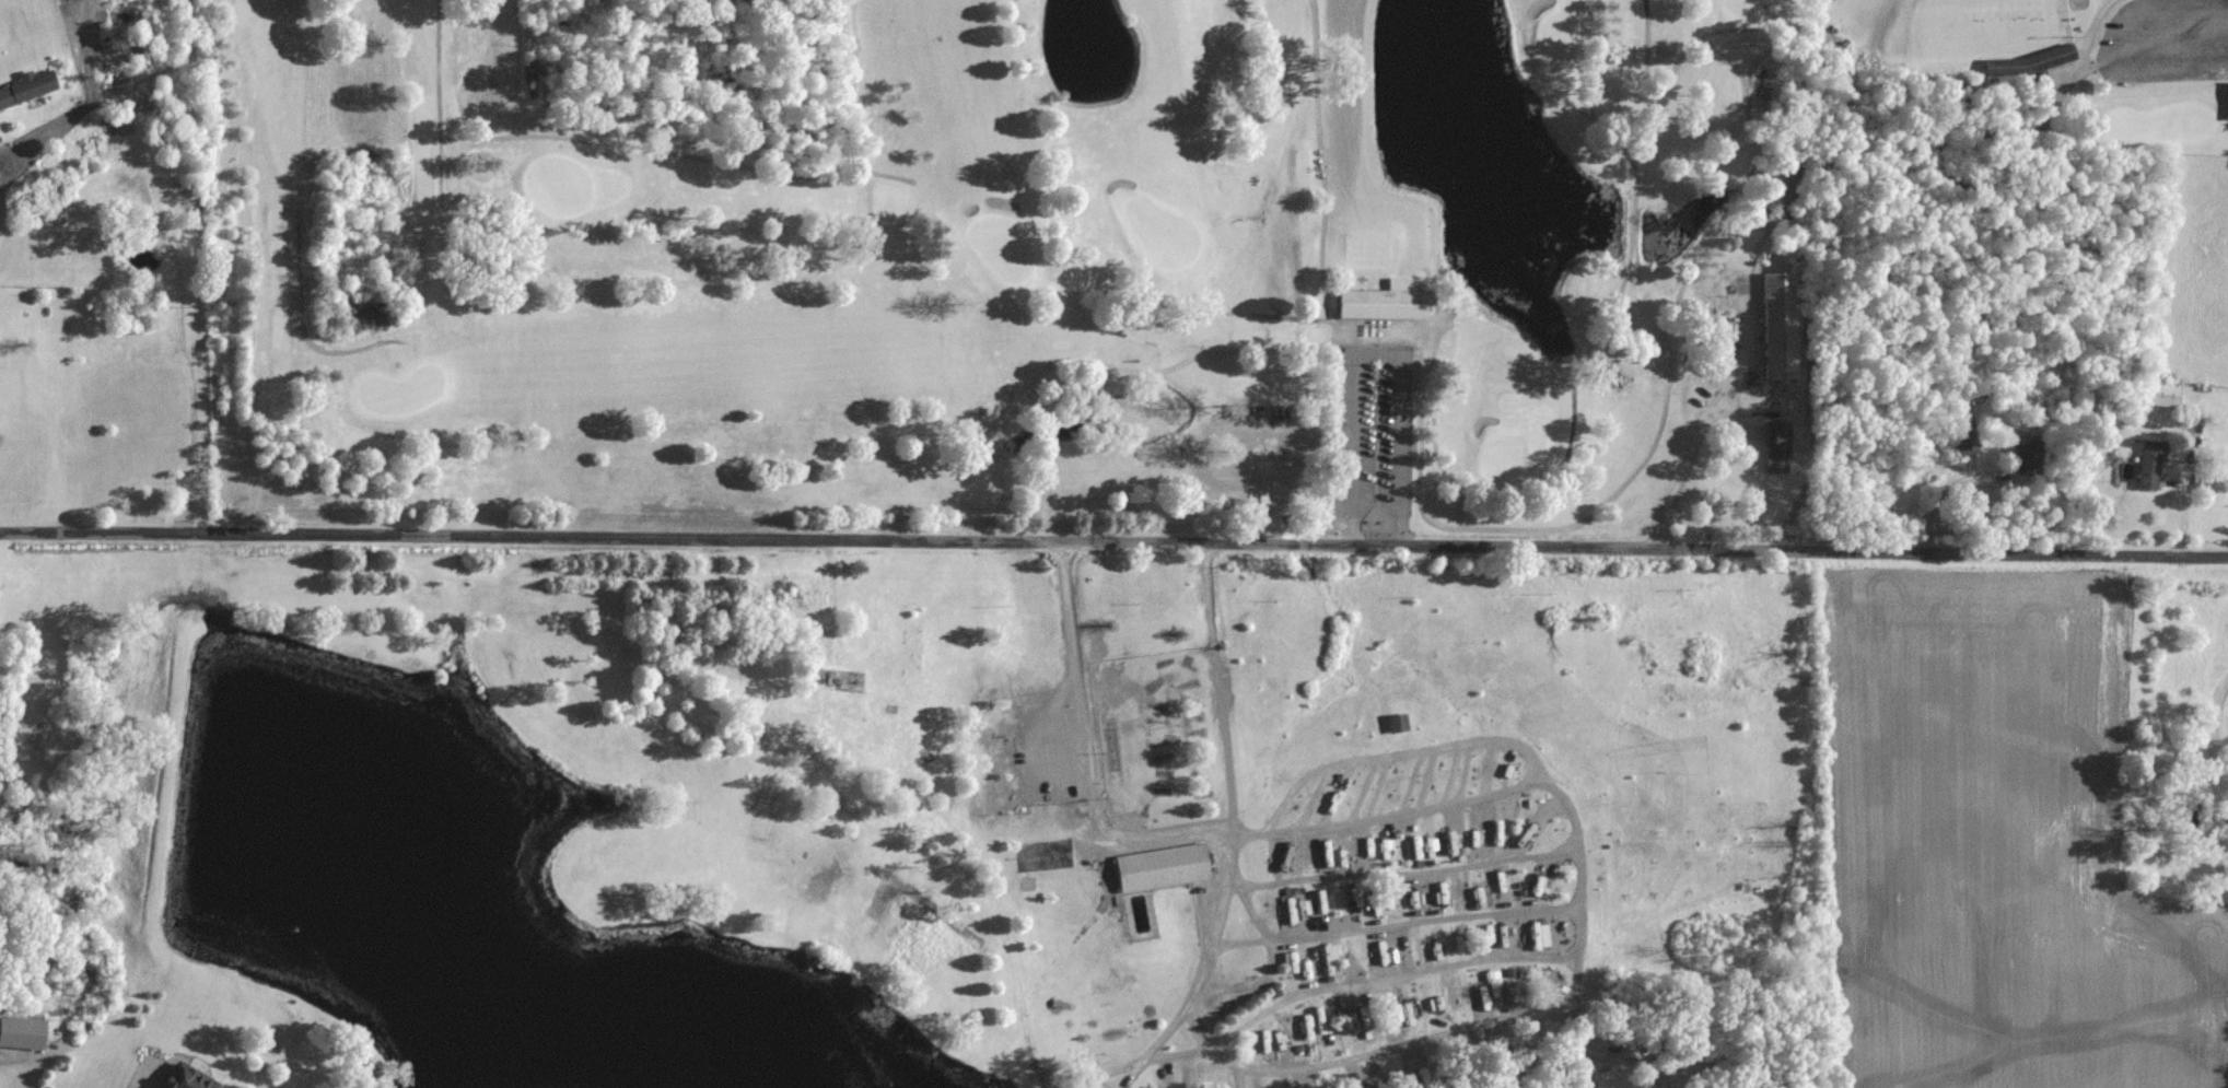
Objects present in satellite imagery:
building: (2006, 13)
building: (2066, 51)
road: (2178, 51)
building: (28, 86)
building: (81, 237)
park: (1015, 254)
building: (1386, 300)
building: (1780, 325)
road: (1374, 350)
road: (184, 353)
building: (2163, 394)
building: (1778, 446)
road: (1209, 448)
road: (1687, 456)
building: (2151, 463)
road: (1113, 543)
road: (1399, 750)
road: (1157, 837)
building: (1163, 866)
road: (1403, 870)
road: (1395, 923)
road: (1271, 961)
road: (1386, 975)
road: (1539, 1008)
building: (22, 1032)

